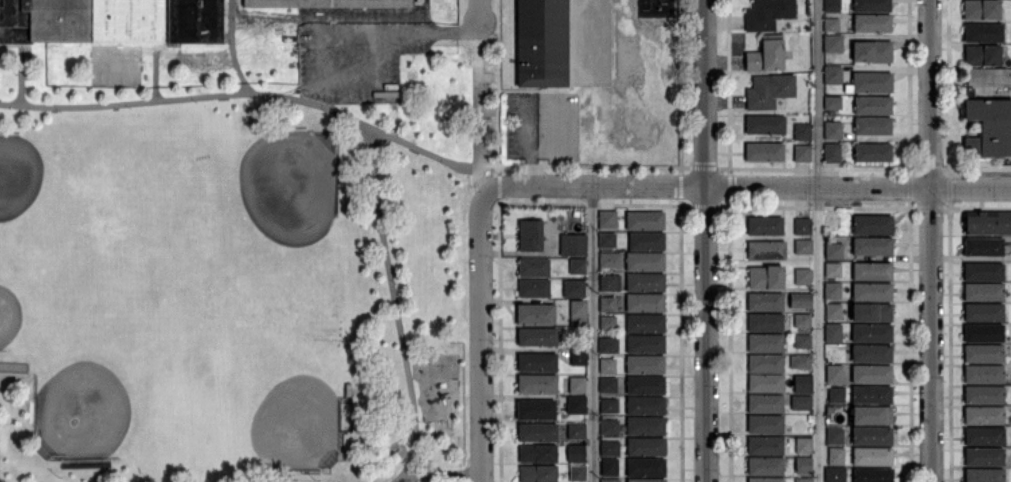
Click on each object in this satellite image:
building: (325, 4)
building: (831, 6)
building: (871, 6)
building: (981, 10)
building: (767, 14)
road: (479, 16)
building: (110, 23)
building: (872, 24)
building: (831, 25)
road: (320, 33)
building: (983, 33)
building: (542, 43)
building: (832, 44)
building: (872, 52)
parking lot: (358, 53)
building: (765, 55)
building: (982, 56)
building: (832, 76)
building: (872, 83)
building: (769, 91)
road: (171, 98)
building: (832, 103)
building: (872, 106)
building: (765, 125)
building: (872, 126)
road: (373, 128)
building: (988, 128)
building: (833, 131)
building: (801, 132)
building: (763, 152)
building: (801, 153)
building: (832, 153)
building: (872, 153)
road: (747, 185)
building: (607, 220)
building: (832, 220)
building: (645, 221)
building: (987, 222)
building: (872, 225)
building: (801, 226)
building: (764, 227)
building: (530, 236)
road: (706, 240)
road: (819, 240)
road: (936, 240)
building: (607, 241)
building: (646, 242)
building: (573, 246)
building: (802, 247)
building: (871, 247)
building: (983, 247)
building: (766, 251)
building: (833, 251)
building: (610, 261)
building: (645, 263)
building: (532, 267)
building: (577, 267)
building: (832, 270)
building: (871, 271)
park: (233, 273)
building: (983, 273)
building: (802, 277)
building: (766, 279)
building: (645, 283)
building: (610, 284)
building: (533, 289)
building: (573, 289)
building: (832, 292)
building: (871, 292)
building: (983, 292)
building: (799, 301)
building: (764, 302)
building: (607, 304)
building: (645, 304)
road: (398, 306)
building: (577, 308)
building: (832, 311)
building: (871, 313)
building: (983, 313)
building: (535, 315)
building: (801, 321)
building: (607, 323)
building: (765, 323)
building: (644, 324)
road: (592, 333)
building: (832, 333)
building: (871, 334)
building: (983, 334)
road: (485, 336)
building: (537, 337)
building: (802, 341)
building: (765, 343)
building: (645, 344)
building: (607, 345)
building: (871, 353)
building: (983, 354)
building: (578, 357)
building: (799, 362)
building: (537, 363)
building: (765, 364)
building: (644, 365)
building: (607, 366)
building: (834, 374)
building: (871, 375)
building: (983, 375)
building: (537, 384)
building: (765, 384)
building: (802, 384)
building: (577, 385)
building: (607, 385)
building: (645, 385)
building: (835, 395)
building: (871, 395)
building: (983, 395)
building: (800, 403)
building: (765, 404)
building: (576, 405)
building: (608, 406)
building: (645, 406)
building: (535, 410)
building: (829, 410)
building: (871, 416)
building: (983, 416)
building: (802, 417)
building: (765, 425)
building: (644, 426)
building: (609, 427)
building: (538, 432)
building: (576, 432)
building: (834, 436)
building: (872, 436)
building: (983, 436)
building: (765, 446)
building: (803, 446)
building: (646, 447)
building: (609, 448)
building: (576, 453)
building: (538, 454)
building: (836, 457)
building: (872, 457)
building: (983, 457)
building: (803, 466)
building: (608, 467)
building: (764, 467)
building: (646, 468)
building: (537, 474)
building: (577, 474)
building: (834, 475)
building: (872, 475)
building: (983, 475)
road: (1, 480)
building: (609, 480)
building: (645, 480)
building: (765, 480)
building: (803, 480)

